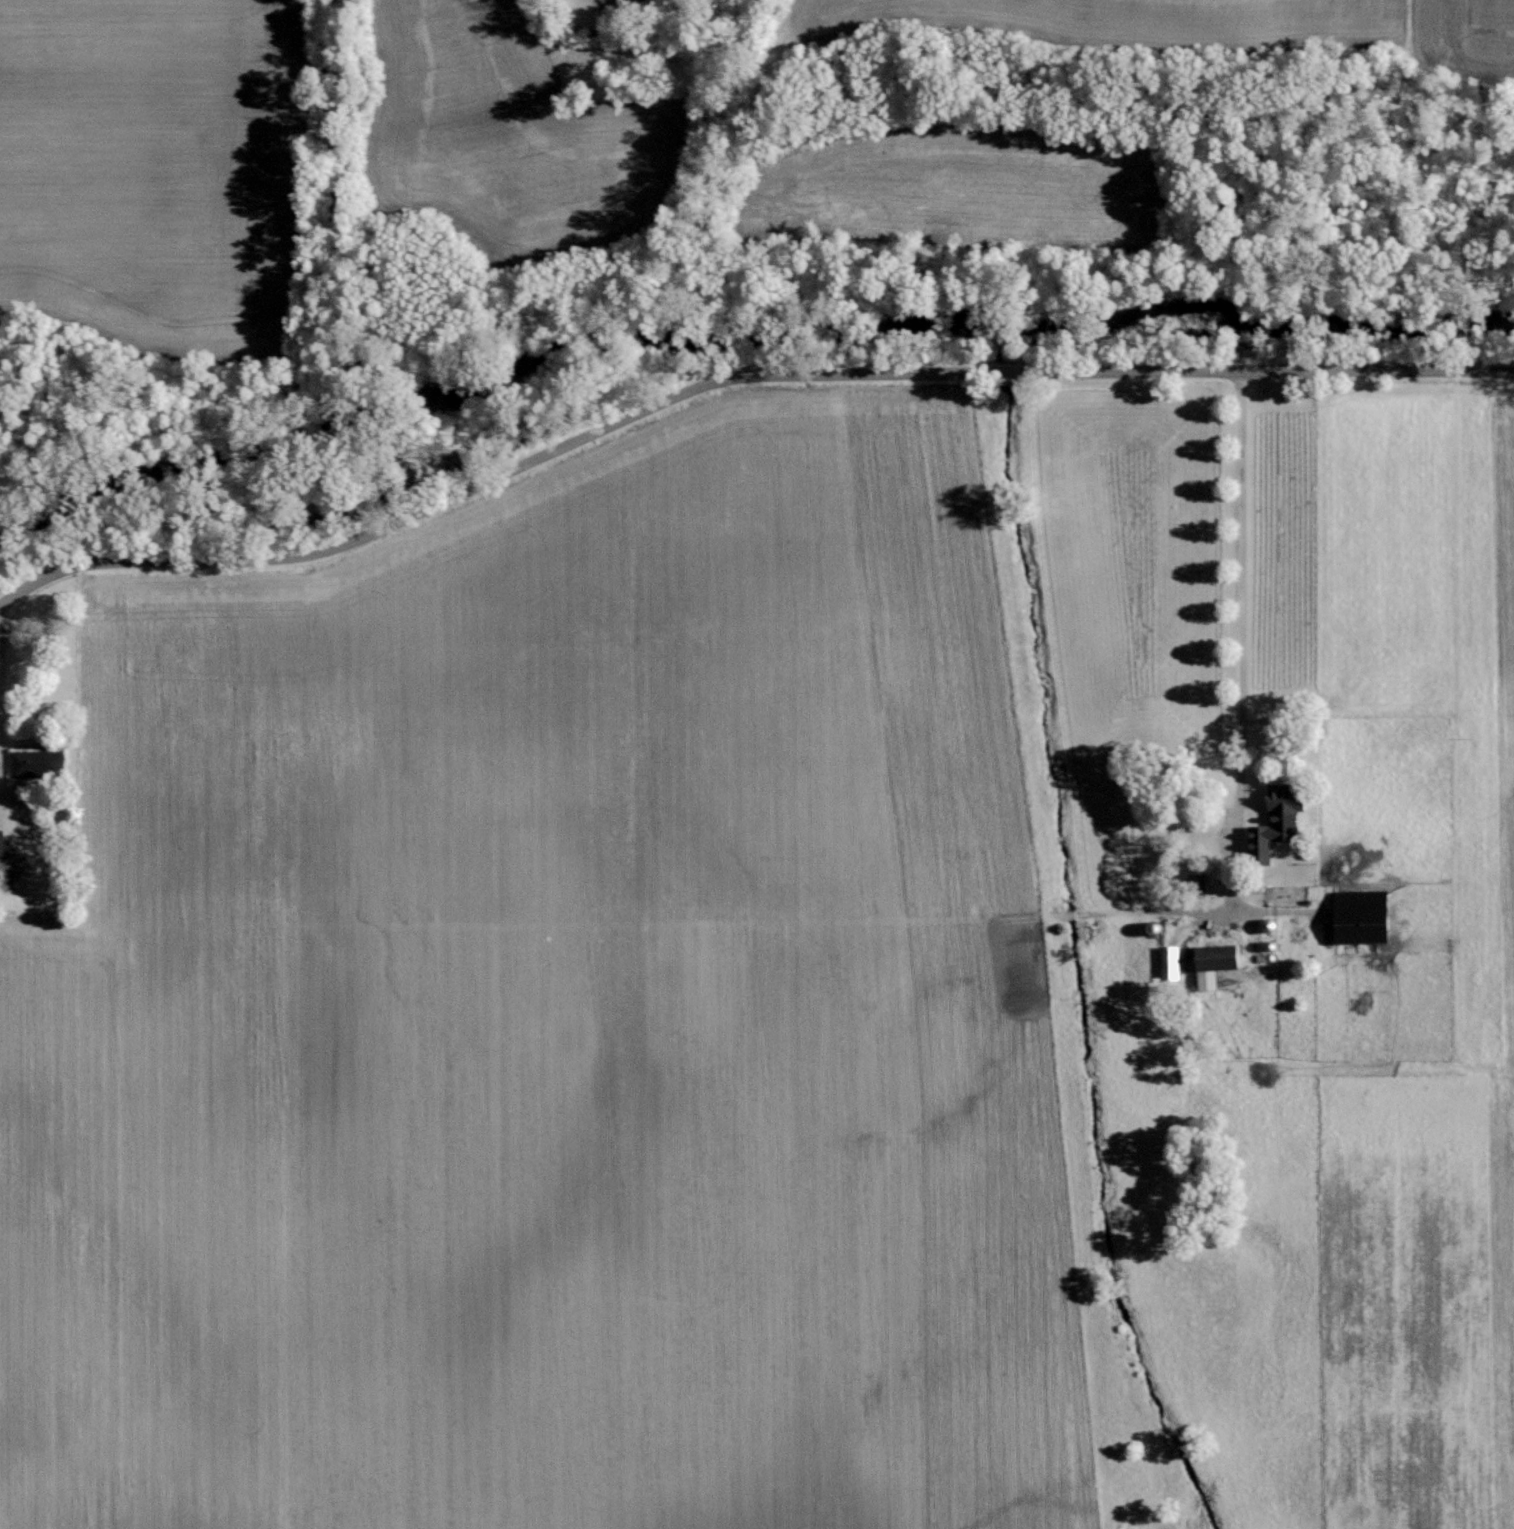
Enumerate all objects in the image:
river: (732, 278)
road: (734, 374)
road: (1239, 592)
building: (39, 762)
road: (9, 777)
building: (1281, 823)
building: (1235, 954)
building: (1173, 963)
building: (1211, 978)

